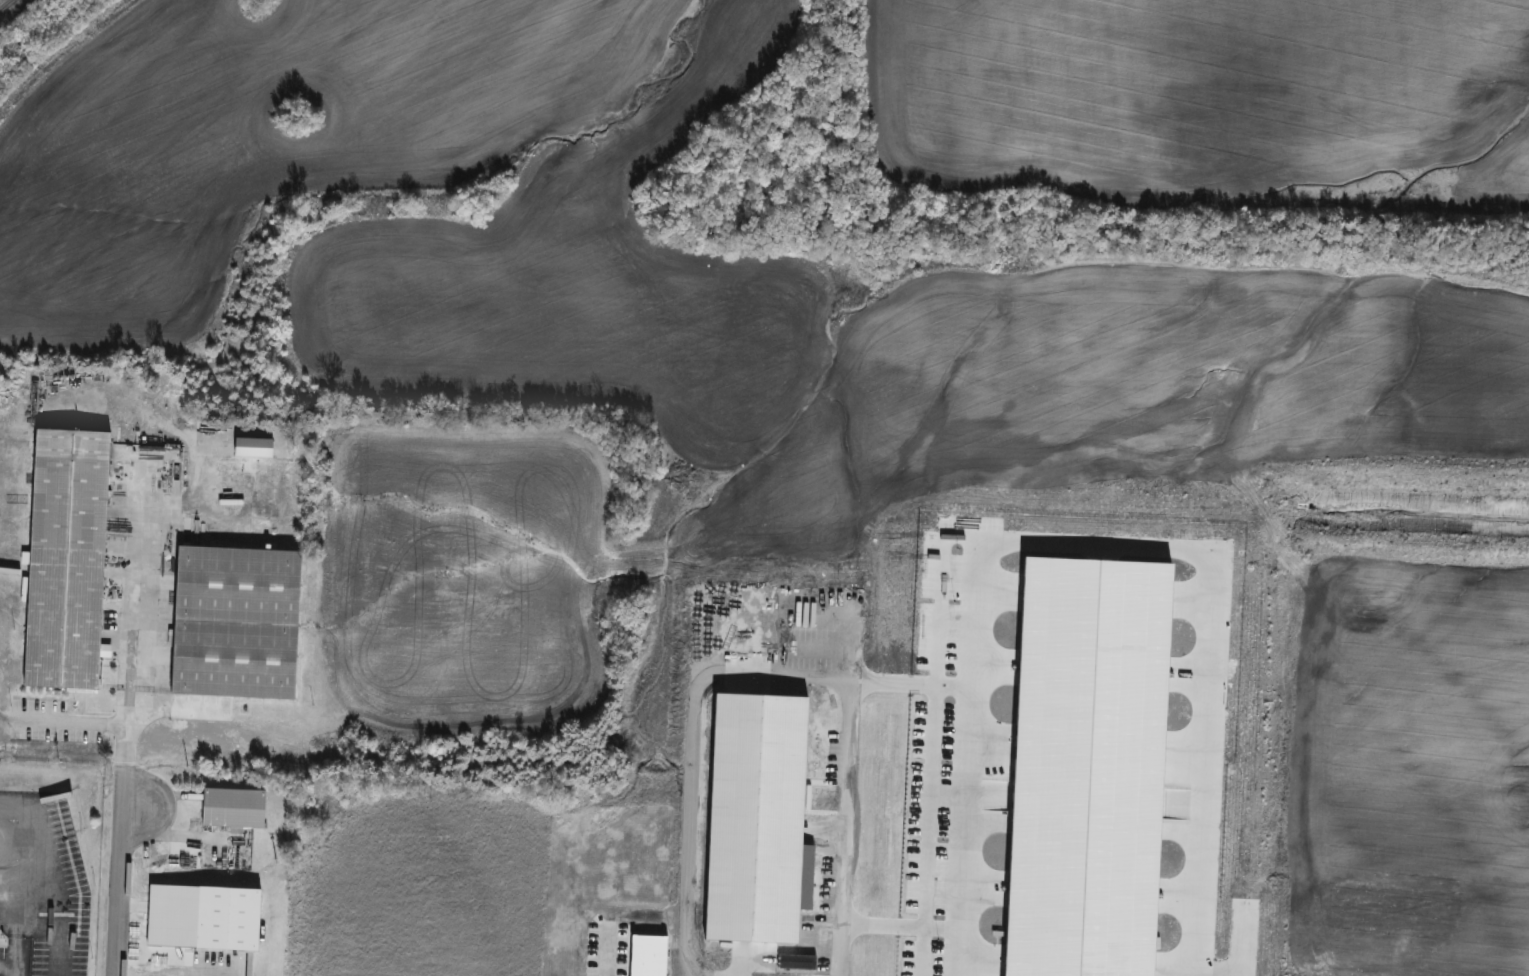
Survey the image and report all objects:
railway: (7, 5)
building: (64, 557)
building: (231, 623)
road: (124, 662)
road: (763, 673)
road: (70, 717)
road: (217, 719)
building: (1084, 769)
building: (234, 808)
building: (759, 822)
road: (14, 884)
building: (228, 917)
road: (153, 954)
road: (7, 969)

